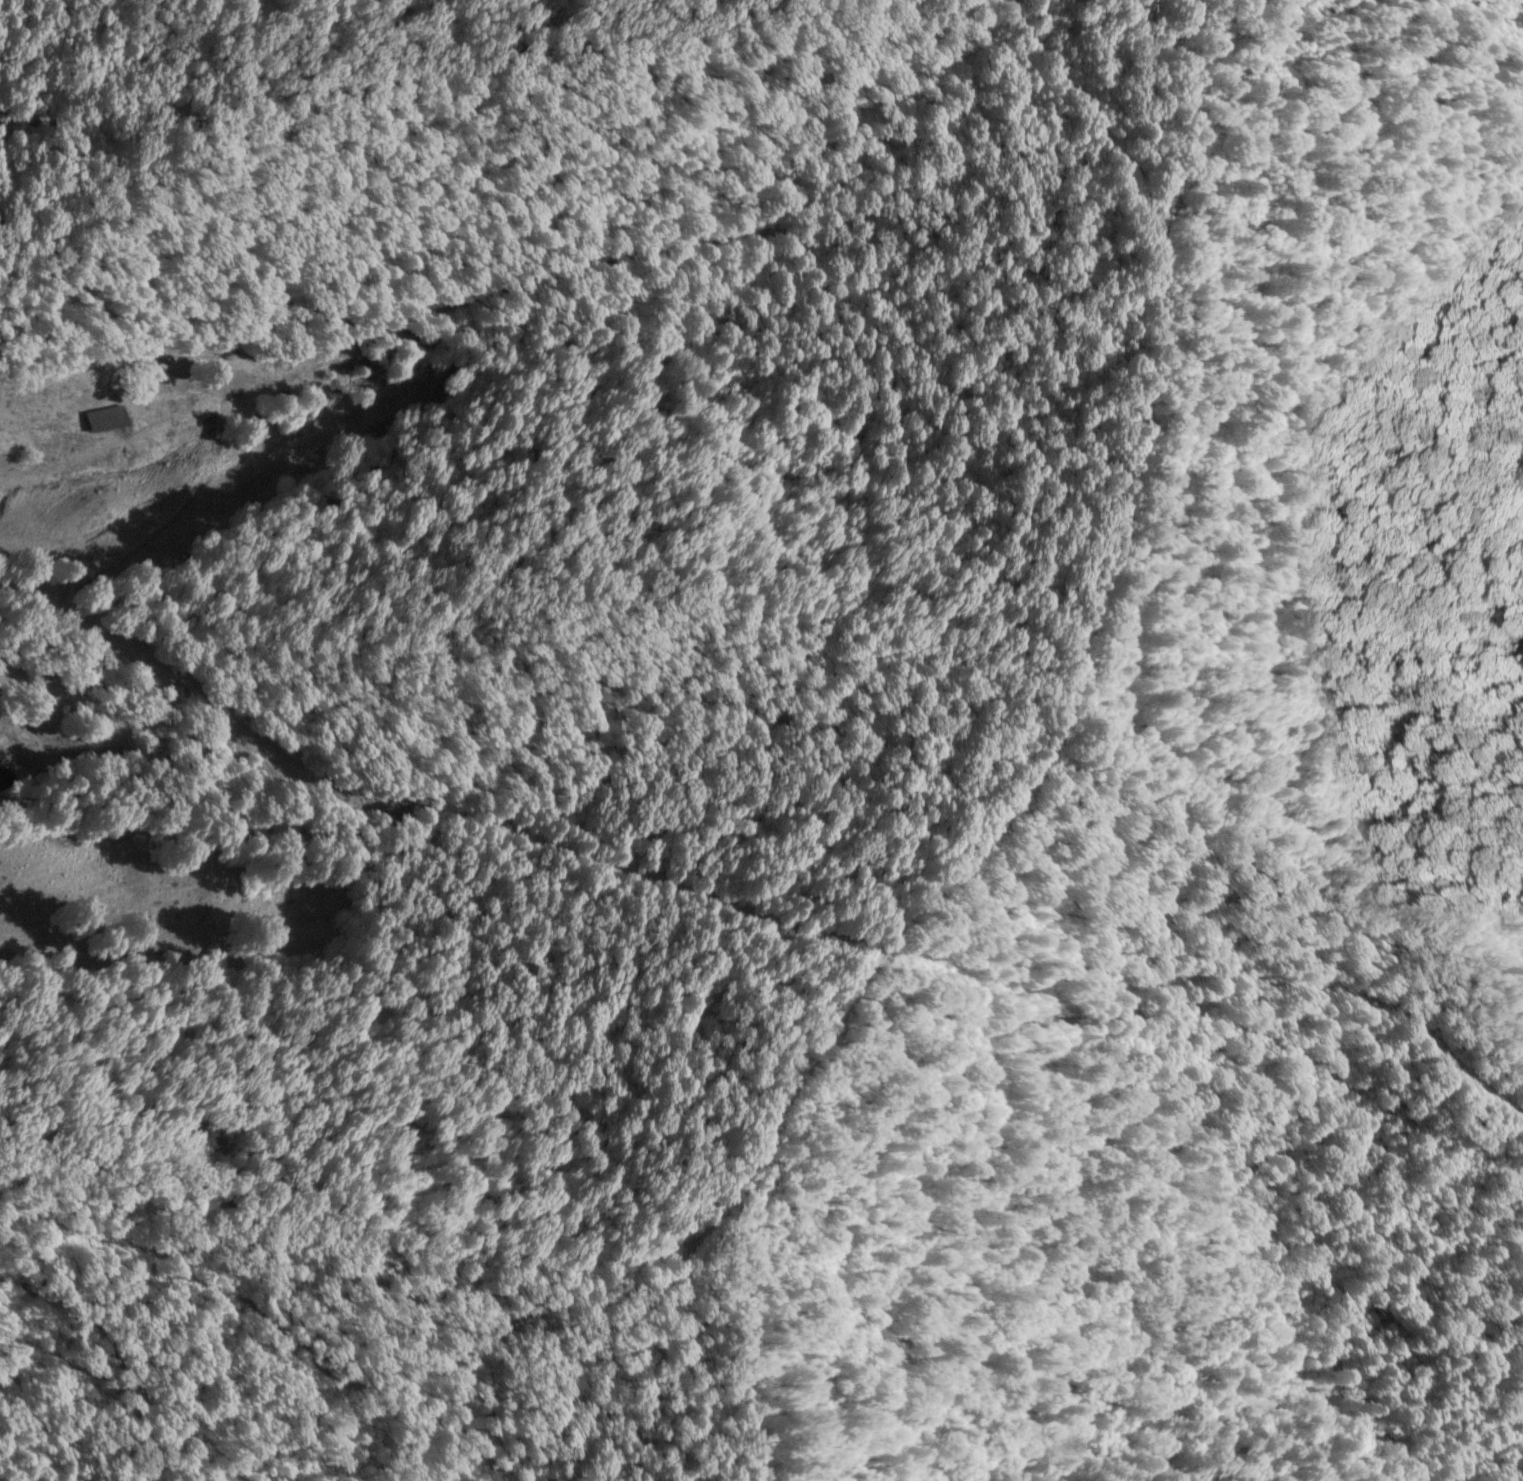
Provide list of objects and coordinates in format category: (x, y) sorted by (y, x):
building: (183, 400)
building: (100, 420)

